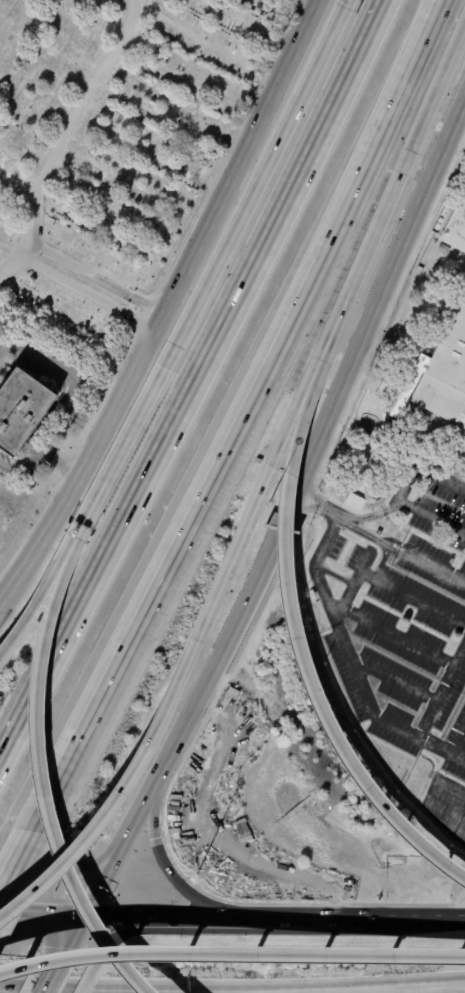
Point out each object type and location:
road: (89, 96)
road: (432, 100)
parking lot: (463, 148)
road: (262, 173)
park: (99, 198)
road: (37, 213)
building: (454, 224)
building: (66, 228)
road: (254, 263)
road: (308, 273)
road: (98, 276)
road: (352, 284)
road: (86, 289)
road: (168, 305)
road: (66, 373)
building: (446, 379)
building: (22, 410)
road: (121, 447)
road: (60, 457)
road: (22, 467)
road: (299, 474)
road: (402, 492)
road: (345, 515)
road: (354, 530)
road: (313, 564)
road: (426, 565)
road: (332, 575)
road: (400, 592)
building: (312, 594)
road: (346, 595)
road: (36, 603)
road: (2, 605)
parking lot: (403, 627)
road: (397, 636)
road: (59, 641)
road: (301, 666)
road: (179, 673)
road: (393, 681)
road: (99, 694)
road: (395, 728)
road: (455, 732)
road: (441, 748)
building: (227, 768)
road: (41, 783)
road: (430, 804)
road: (215, 834)
road: (163, 863)
road: (13, 868)
road: (62, 871)
road: (98, 881)
road: (452, 907)
road: (39, 914)
traffic signals: (79, 918)
road: (272, 919)
road: (127, 932)
road: (66, 936)
road: (231, 954)
road: (44, 974)
road: (88, 974)
road: (356, 981)

